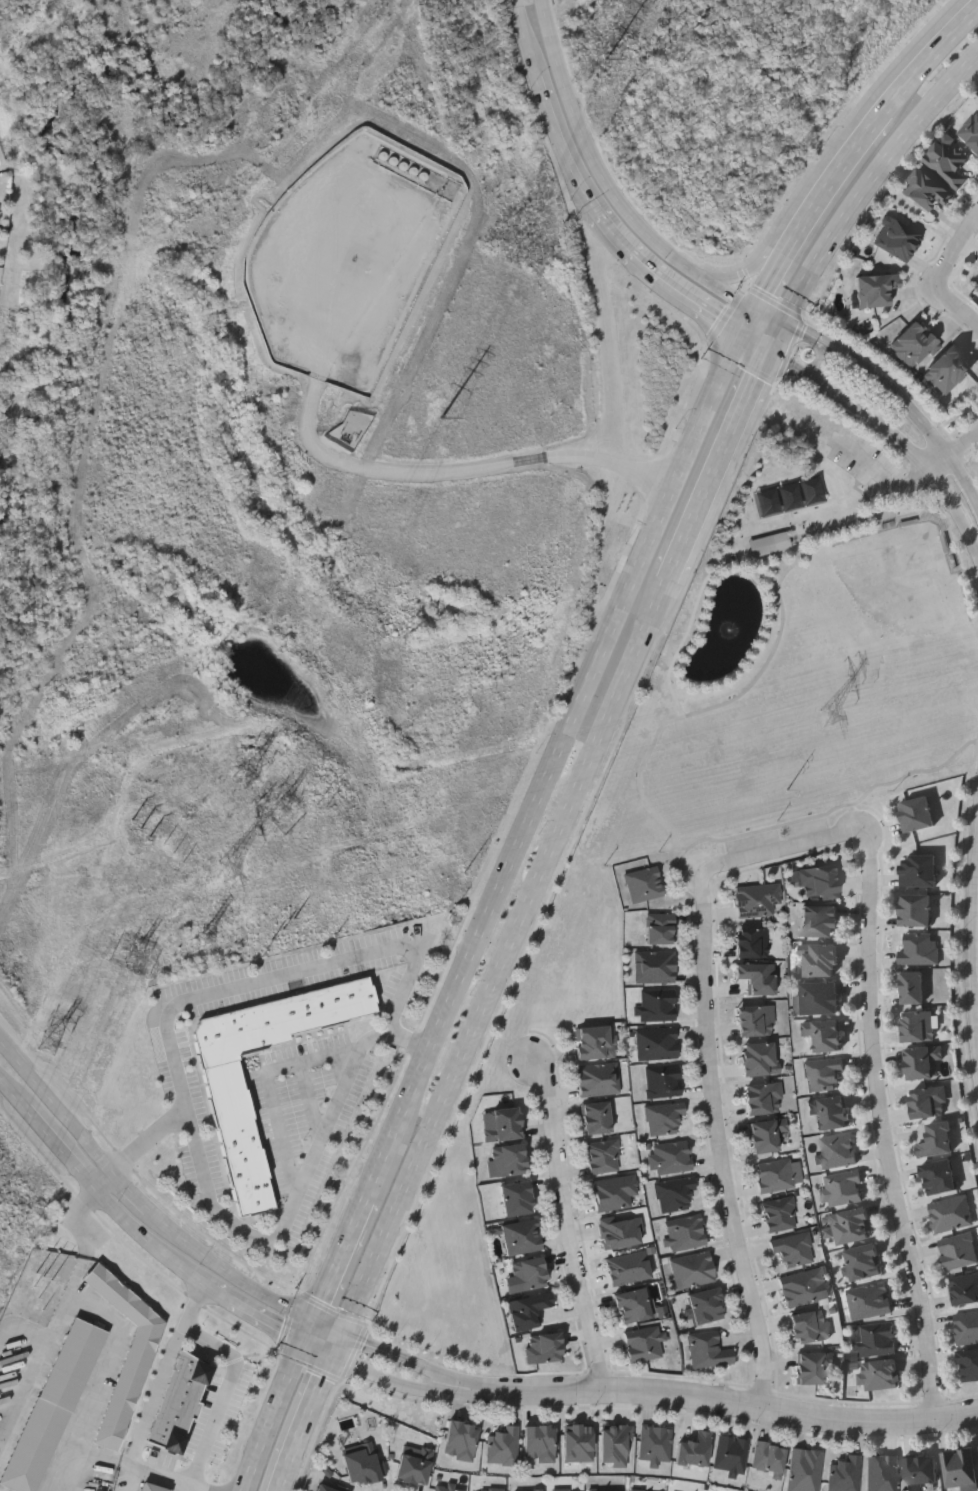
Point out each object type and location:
park: (106, 24)
power tower: (608, 64)
road: (921, 72)
road: (562, 150)
road: (591, 153)
building: (948, 162)
road: (847, 164)
road: (870, 179)
building: (926, 191)
building: (896, 239)
road: (790, 249)
road: (769, 250)
road: (956, 250)
building: (975, 283)
building: (876, 290)
road: (726, 291)
road: (700, 302)
road: (957, 305)
traffic signals: (757, 308)
road: (770, 314)
road: (750, 320)
traffic signals: (783, 320)
traffic signals: (744, 332)
road: (776, 335)
road: (756, 341)
traffic signals: (769, 350)
road: (731, 359)
road: (901, 397)
road: (851, 404)
power tower: (444, 421)
road: (953, 452)
road: (718, 465)
road: (357, 470)
road: (878, 470)
road: (951, 502)
building: (771, 545)
power tower: (825, 716)
power tower: (250, 775)
road: (537, 801)
power tower: (282, 813)
building: (916, 813)
power tower: (143, 827)
road: (789, 849)
power tower: (175, 853)
building: (918, 870)
power tower: (196, 877)
building: (817, 881)
building: (643, 883)
building: (756, 899)
building: (915, 909)
building: (819, 920)
building: (660, 928)
building: (751, 942)
building: (919, 948)
power tower: (135, 954)
road: (506, 957)
building: (820, 960)
building: (654, 966)
road: (277, 976)
building: (756, 977)
building: (913, 987)
building: (819, 998)
building: (656, 1004)
building: (755, 1020)
building: (918, 1026)
building: (824, 1034)
power tower: (50, 1041)
building: (595, 1042)
building: (656, 1042)
building: (758, 1058)
building: (922, 1061)
building: (822, 1073)
building: (597, 1078)
building: (662, 1080)
building: (763, 1097)
building: (928, 1102)
road: (56, 1106)
building: (831, 1112)
building: (596, 1117)
building: (663, 1117)
building: (502, 1123)
building: (237, 1132)
building: (766, 1133)
road: (882, 1135)
building: (935, 1140)
road: (720, 1141)
building: (837, 1150)
building: (602, 1156)
building: (670, 1157)
building: (509, 1159)
building: (773, 1175)
building: (939, 1177)
road: (107, 1180)
building: (841, 1188)
road: (131, 1191)
building: (613, 1192)
building: (674, 1194)
building: (516, 1198)
building: (951, 1213)
building: (779, 1214)
road: (566, 1223)
road: (291, 1226)
building: (851, 1226)
road: (139, 1227)
building: (685, 1232)
building: (520, 1236)
building: (793, 1250)
building: (959, 1250)
building: (863, 1262)
road: (338, 1269)
building: (692, 1269)
power tower: (44, 1271)
road: (228, 1271)
building: (528, 1274)
building: (805, 1286)
road: (69, 1289)
building: (964, 1289)
building: (870, 1301)
building: (633, 1305)
building: (705, 1305)
building: (527, 1310)
traffic signals: (316, 1321)
building: (809, 1325)
road: (330, 1327)
building: (967, 1327)
road: (310, 1332)
traffic signals: (344, 1334)
building: (877, 1339)
building: (643, 1342)
traffic signals: (304, 1343)
road: (339, 1344)
road: (319, 1348)
building: (543, 1348)
building: (708, 1349)
traffic signals: (334, 1354)
road: (414, 1361)
building: (969, 1365)
building: (812, 1366)
building: (879, 1374)
building: (128, 1377)
road: (227, 1377)
road: (99, 1382)
road: (406, 1384)
road: (20, 1387)
building: (178, 1402)
road: (732, 1402)
road: (313, 1403)
building: (51, 1405)
road: (273, 1416)
road: (144, 1420)
building: (460, 1440)
building: (539, 1443)
building: (654, 1443)
building: (502, 1446)
building: (694, 1450)
building: (730, 1453)
building: (768, 1457)
building: (361, 1465)
building: (414, 1465)
building: (960, 1468)
building: (804, 1469)
road: (285, 1471)
building: (921, 1472)
building: (882, 1473)
building: (845, 1474)
road: (129, 1478)
building: (153, 1487)
building: (324, 1487)
building: (446, 1488)
road: (189, 1490)
building: (486, 1490)
building: (526, 1490)
building: (567, 1490)

